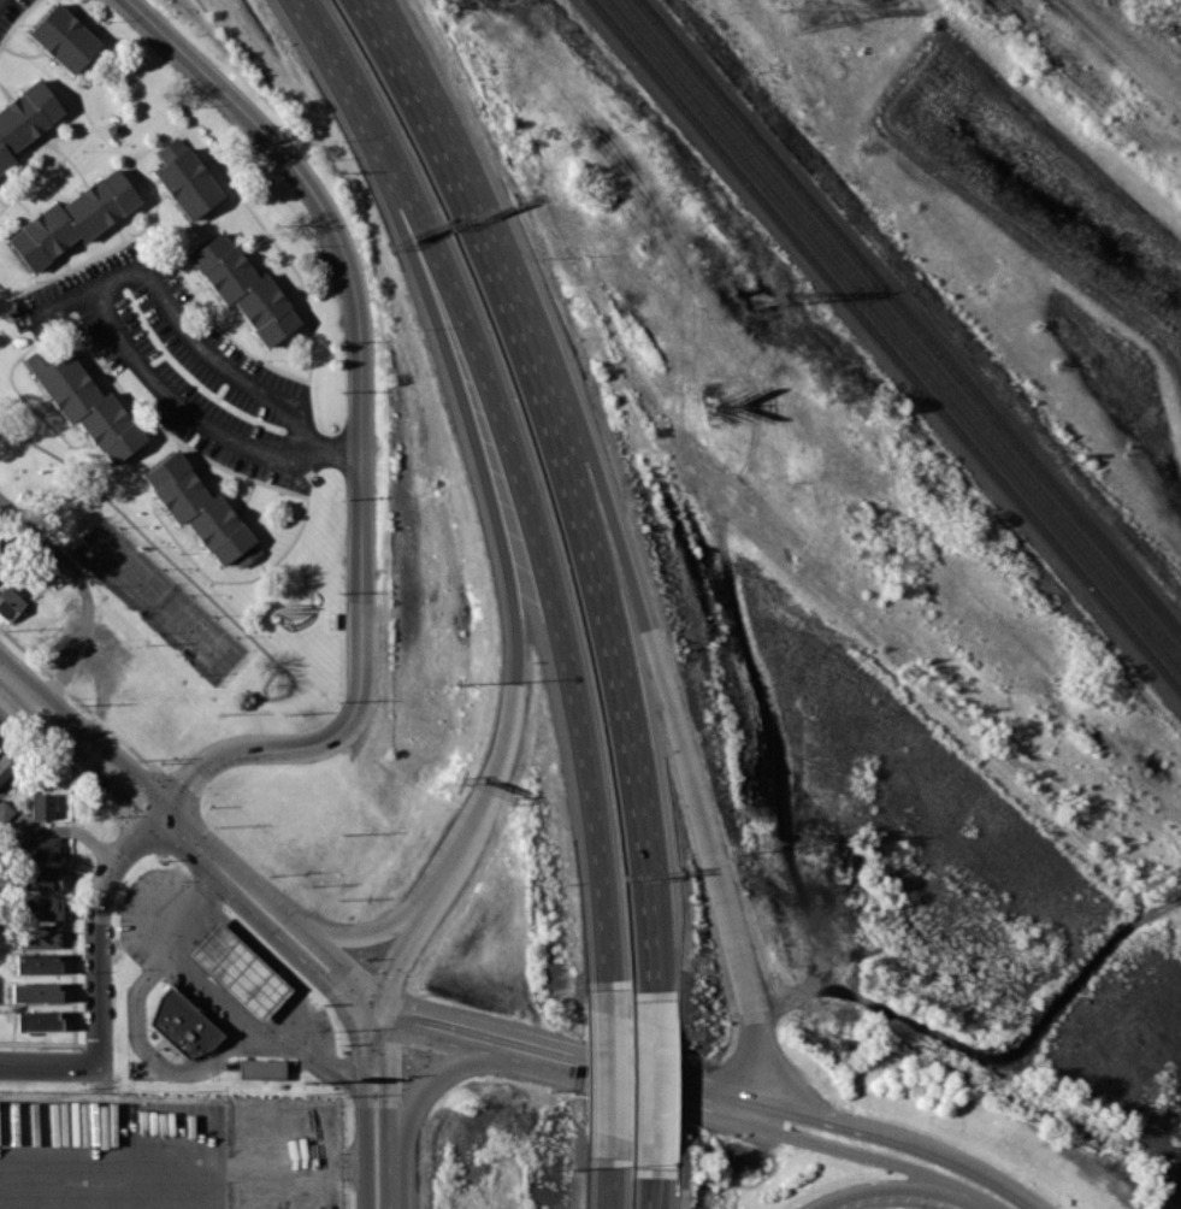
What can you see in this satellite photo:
road: (319, 31)
building: (64, 39)
road: (420, 77)
building: (25, 118)
building: (187, 183)
building: (72, 219)
road: (118, 279)
building: (244, 289)
road: (60, 301)
railway: (910, 318)
railway: (900, 328)
railway: (891, 337)
railway: (886, 344)
road: (218, 359)
road: (177, 403)
building: (89, 407)
road: (465, 425)
road: (367, 429)
road: (337, 446)
road: (580, 500)
building: (201, 511)
road: (535, 523)
building: (0, 570)
road: (87, 588)
building: (10, 604)
park: (184, 614)
road: (651, 624)
road: (19, 682)
road: (67, 725)
building: (5, 768)
road: (129, 782)
traffic signals: (131, 784)
traffic signals: (188, 785)
building: (42, 806)
road: (64, 832)
traffic signals: (137, 841)
traffic signals: (195, 842)
building: (41, 849)
road: (459, 851)
building: (42, 878)
building: (42, 908)
road: (268, 909)
road: (99, 928)
road: (350, 934)
building: (42, 936)
road: (650, 940)
road: (402, 954)
building: (37, 965)
road: (277, 966)
traffic signals: (329, 968)
building: (237, 971)
traffic signals: (391, 977)
road: (214, 991)
building: (35, 992)
building: (37, 1021)
traffic signals: (411, 1021)
building: (182, 1022)
road: (450, 1031)
road: (141, 1042)
traffic signals: (389, 1049)
road: (51, 1066)
road: (323, 1067)
building: (261, 1068)
road: (441, 1069)
road: (389, 1072)
road: (612, 1077)
road: (638, 1081)
road: (649, 1096)
road: (366, 1104)
road: (903, 1137)
road: (876, 1157)
road: (183, 1169)
road: (612, 1173)
road: (390, 1175)
road: (646, 1187)
road: (902, 1189)

